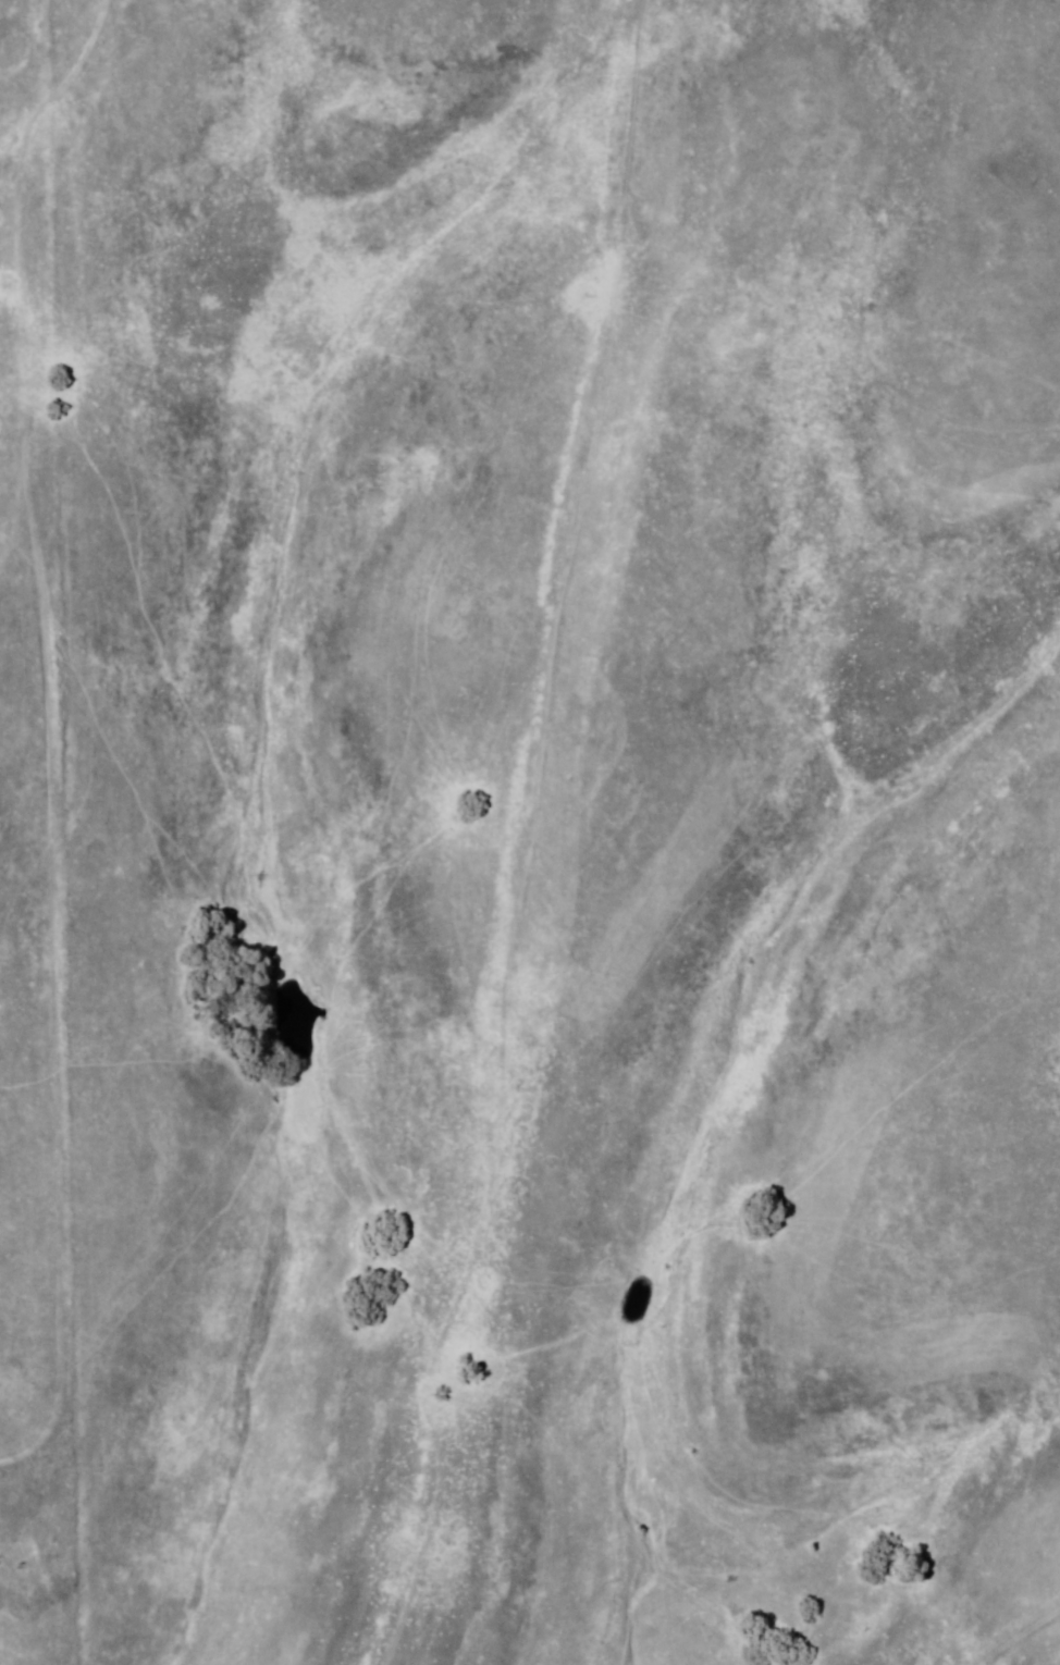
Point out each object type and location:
road: (539, 715)

